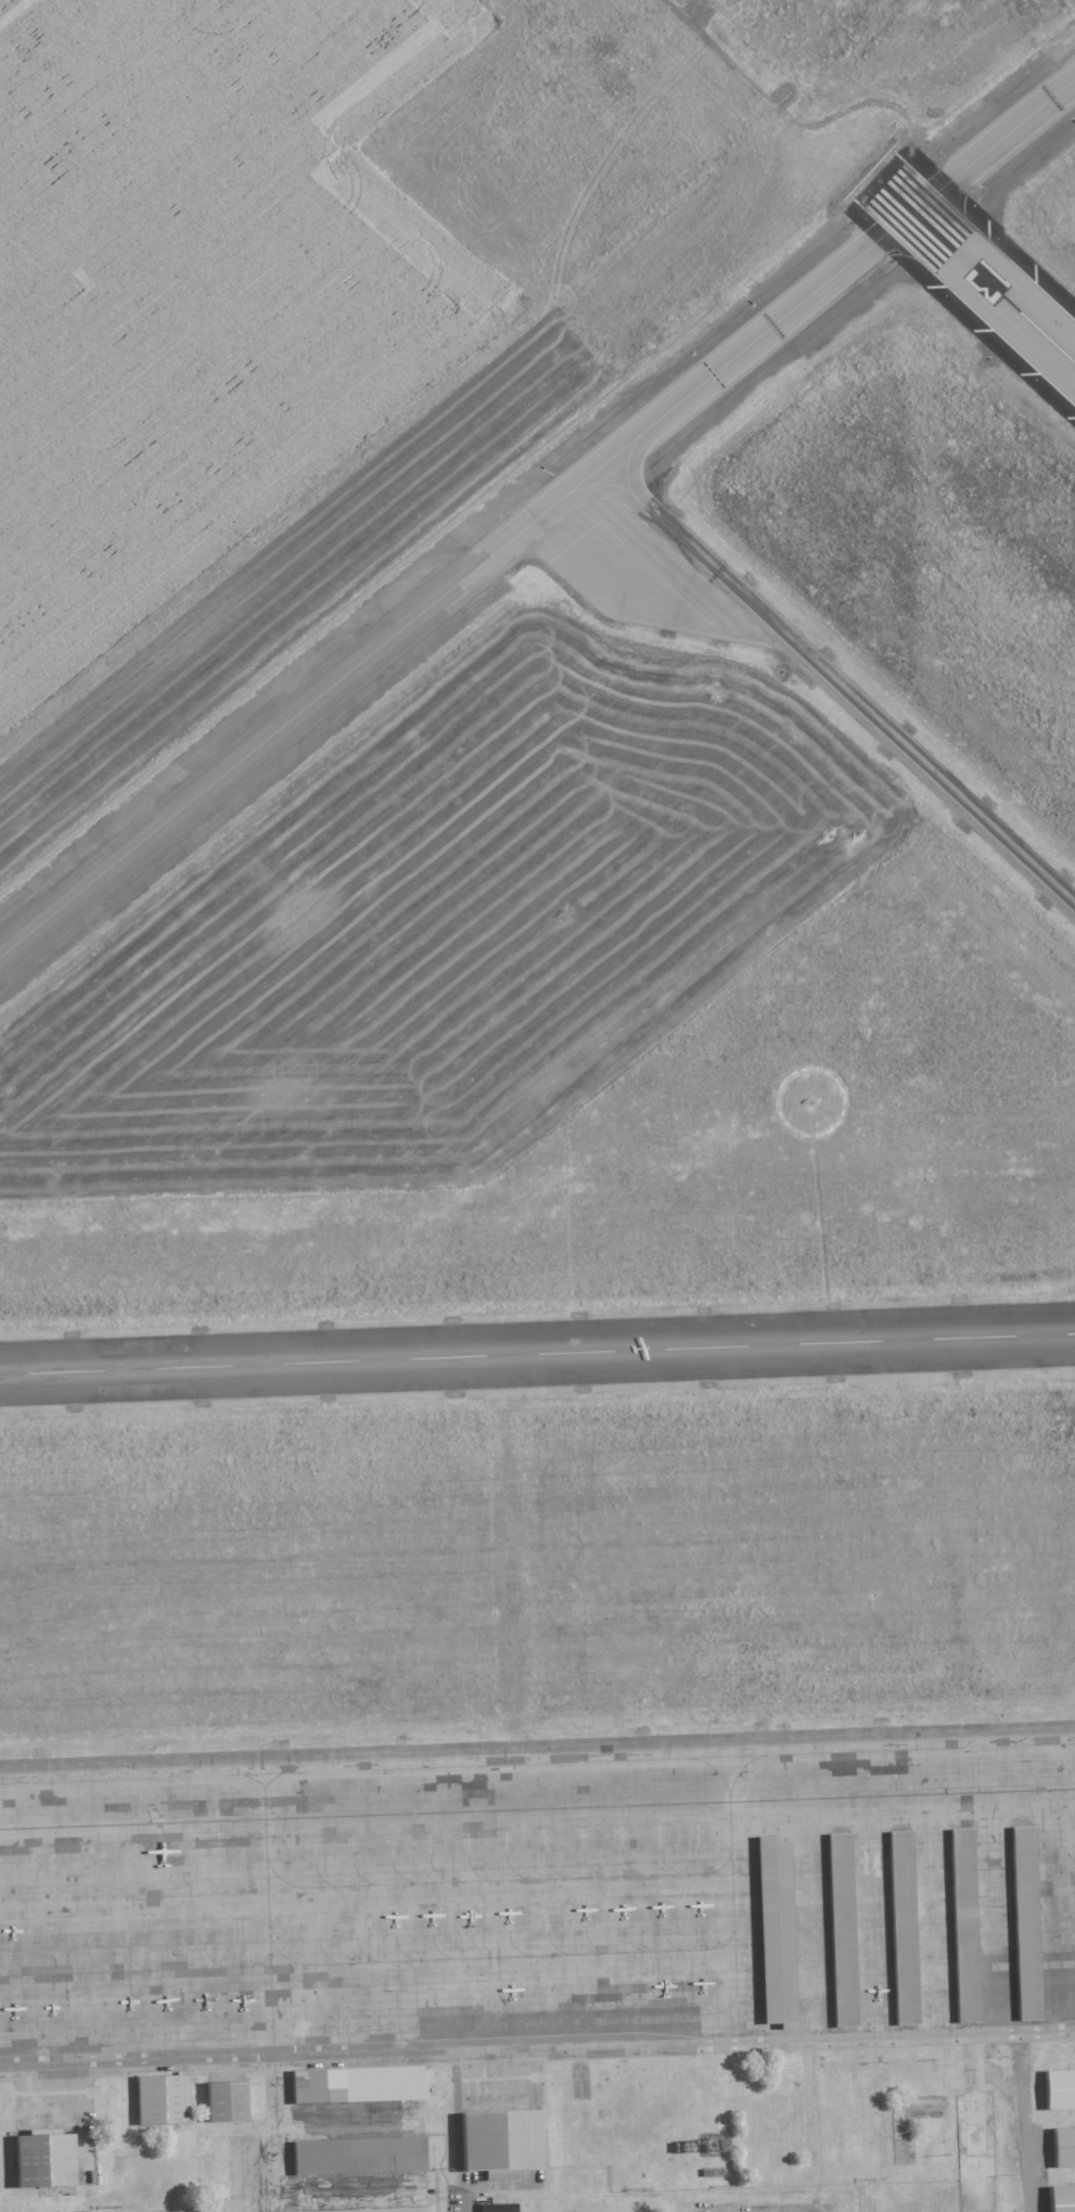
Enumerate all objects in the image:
airport taxiway: (907, 215)
airport taxiway: (908, 240)
airport runway: (977, 276)
airport taxiway: (579, 484)
airport taxiway: (828, 679)
airport taxiway: (285, 723)
airport: (577, 1202)
airport runway: (537, 1354)
airport taxiway: (537, 1763)
airport taxiway: (254, 1779)
airport apron: (537, 1898)
airport hangar: (1026, 1923)
building: (1026, 1923)
airport hangar: (964, 1925)
building: (964, 1925)
airport hangar: (843, 1928)
building: (843, 1928)
airport hangar: (904, 1929)
building: (904, 1929)
airport hangar: (776, 1932)
building: (776, 1932)
airport taxiway: (270, 1991)
airport hangar: (355, 2085)
building: (355, 2085)
airport hangar: (1058, 2089)
building: (1058, 2089)
airport hangar: (161, 2100)
building: (161, 2100)
airport hangar: (223, 2100)
building: (223, 2100)
road: (1026, 2126)
airport hangar: (498, 2143)
building: (498, 2143)
airport hangar: (1062, 2147)
building: (1062, 2147)
airport hangar: (356, 2156)
building: (356, 2156)
airport hangar: (40, 2161)
building: (40, 2161)
airport hangar: (1060, 2198)
building: (1060, 2198)
road: (469, 2205)
building: (498, 2208)
airport hangar: (373, 2210)
building: (373, 2210)
airport hangar: (190, 2211)
building: (190, 2211)

